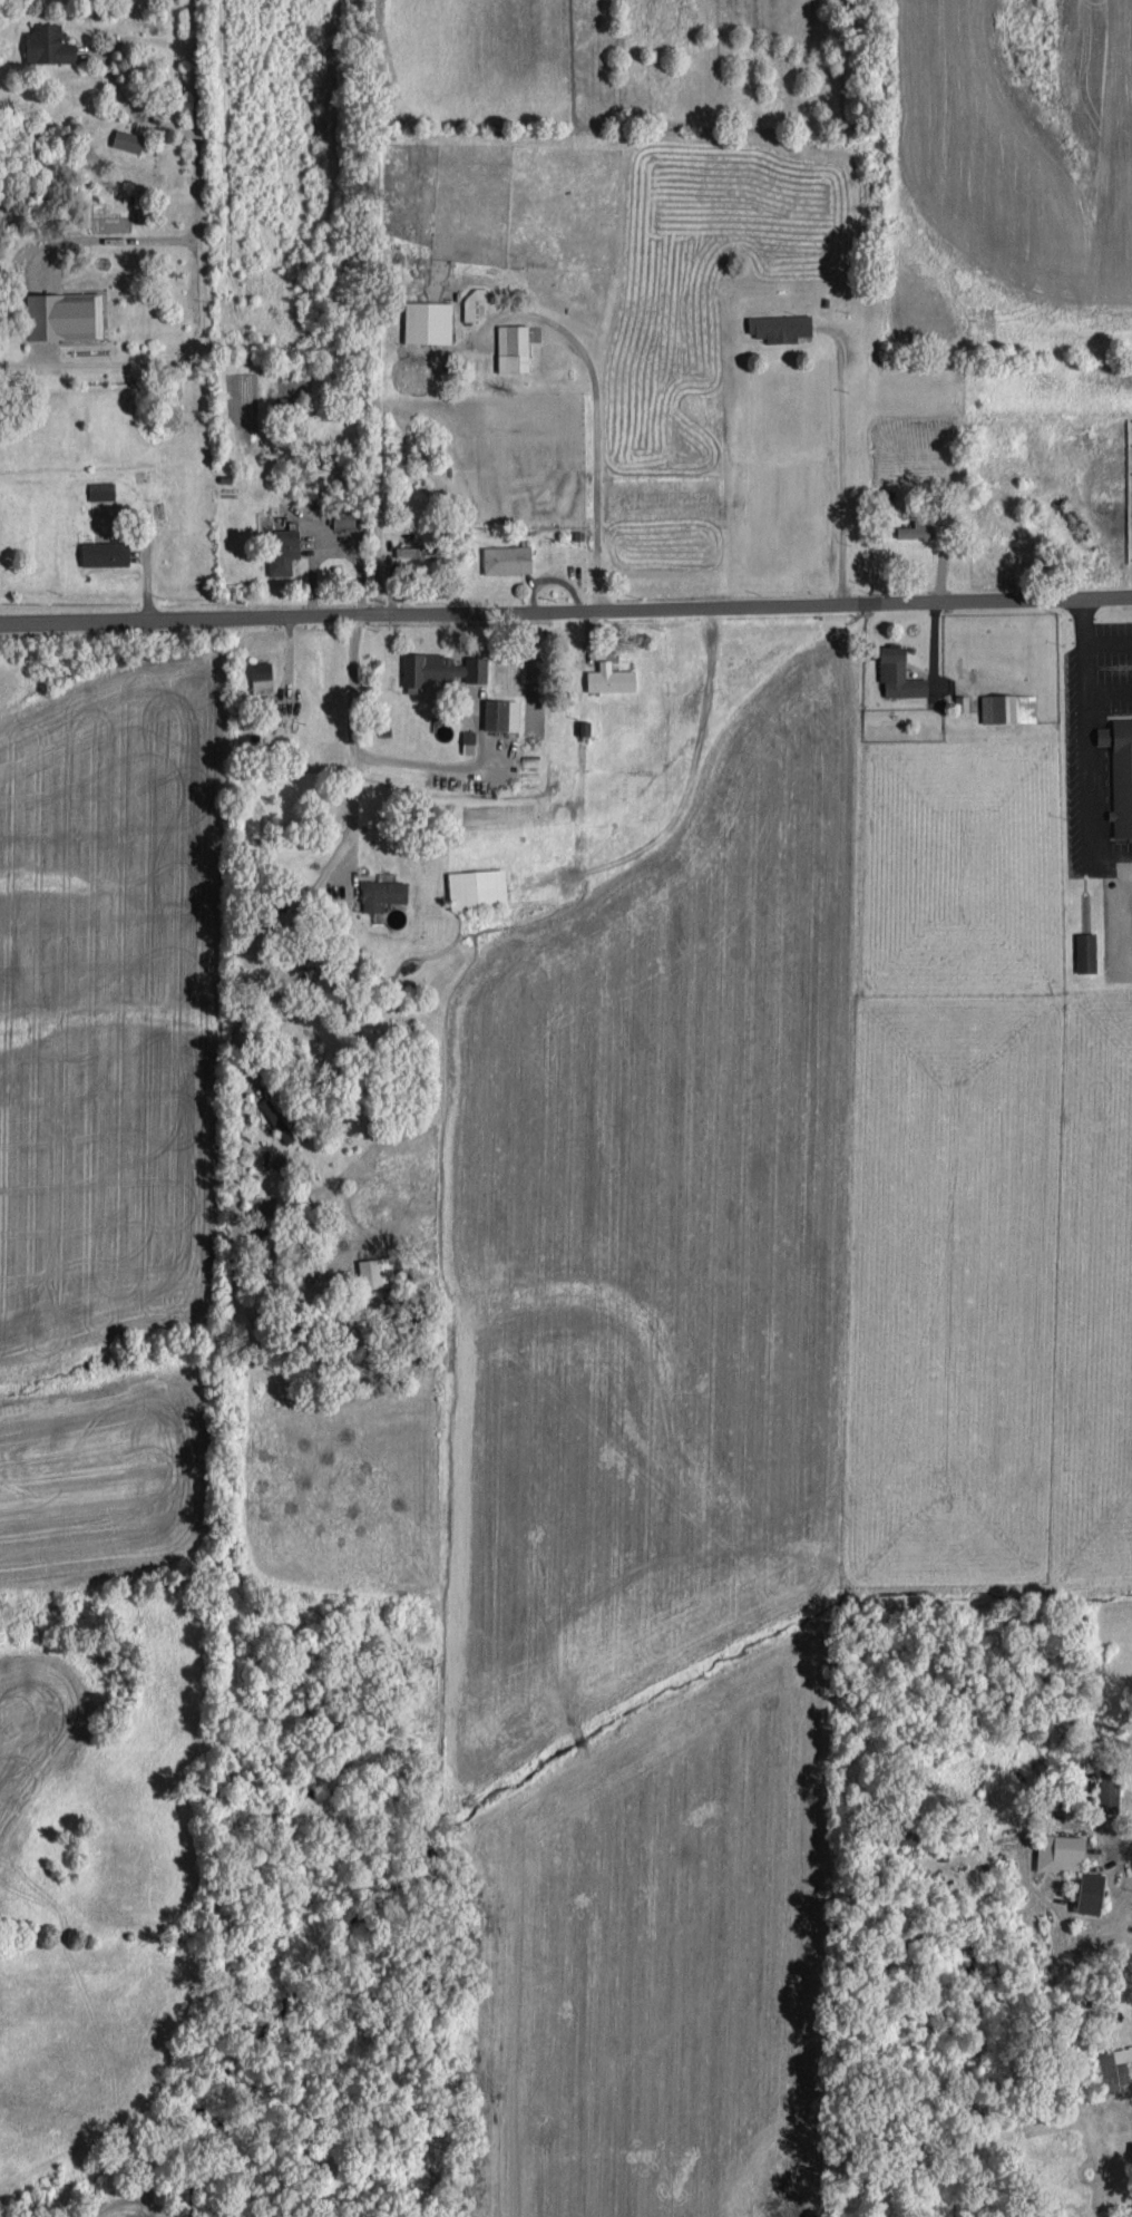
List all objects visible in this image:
building: (49, 42)
building: (129, 138)
building: (472, 301)
road: (377, 304)
building: (65, 313)
building: (428, 320)
building: (781, 324)
building: (514, 346)
building: (103, 488)
building: (344, 517)
building: (919, 527)
building: (283, 548)
building: (420, 550)
building: (106, 551)
building: (508, 557)
road: (565, 609)
building: (440, 668)
building: (900, 671)
building: (262, 674)
building: (609, 675)
building: (1008, 707)
building: (502, 712)
building: (1120, 771)
building: (480, 886)
building: (383, 892)
building: (1086, 950)
building: (281, 1116)
building: (378, 1268)
building: (1062, 1850)
building: (1093, 1890)
building: (1115, 2069)

